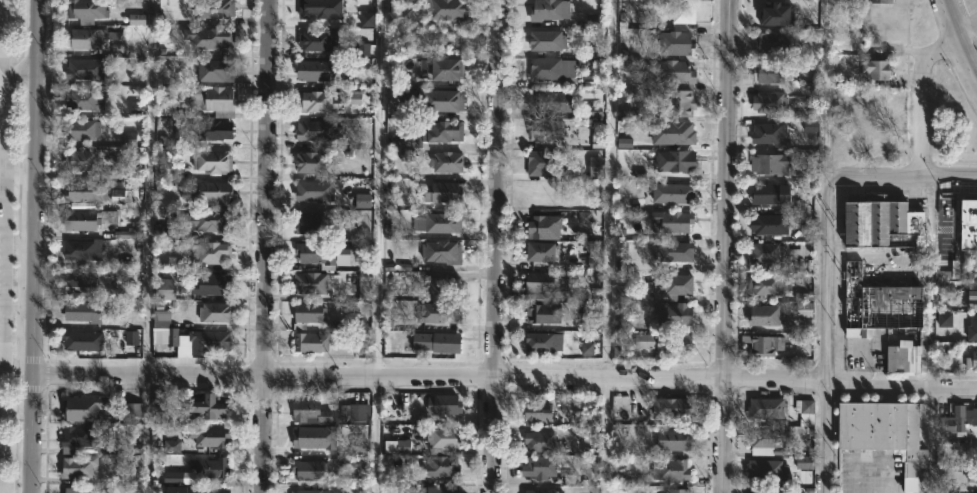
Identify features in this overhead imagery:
building: (883, 2)
building: (320, 9)
building: (215, 10)
building: (445, 10)
building: (550, 10)
building: (86, 11)
building: (774, 11)
building: (682, 12)
building: (400, 15)
building: (136, 19)
building: (367, 19)
building: (593, 20)
road: (964, 25)
road: (958, 38)
building: (88, 39)
building: (212, 39)
building: (316, 41)
building: (548, 41)
building: (674, 44)
building: (771, 44)
building: (363, 49)
building: (551, 68)
building: (86, 69)
building: (877, 69)
building: (445, 70)
building: (215, 71)
building: (318, 71)
building: (671, 72)
building: (771, 73)
road: (825, 88)
building: (353, 98)
road: (921, 98)
building: (85, 100)
building: (214, 101)
building: (440, 101)
building: (318, 102)
building: (552, 102)
building: (770, 103)
building: (680, 104)
building: (166, 108)
building: (593, 111)
building: (213, 130)
building: (79, 131)
building: (318, 131)
building: (547, 131)
building: (674, 134)
building: (431, 135)
building: (772, 135)
building: (128, 139)
building: (597, 141)
building: (624, 143)
road: (3, 154)
building: (82, 161)
building: (676, 161)
building: (447, 162)
building: (213, 163)
building: (312, 163)
building: (546, 164)
building: (773, 165)
building: (595, 167)
building: (160, 170)
building: (118, 174)
road: (904, 178)
building: (160, 186)
road: (144, 188)
building: (85, 191)
building: (314, 191)
building: (443, 191)
building: (213, 193)
building: (673, 193)
building: (770, 194)
building: (118, 196)
building: (363, 200)
building: (637, 204)
building: (583, 218)
building: (211, 219)
building: (673, 219)
building: (87, 220)
building: (882, 220)
building: (439, 221)
building: (310, 222)
building: (771, 222)
building: (970, 224)
building: (545, 226)
building: (162, 231)
road: (33, 246)
road: (266, 246)
road: (377, 246)
road: (495, 246)
road: (608, 246)
road: (726, 246)
building: (83, 248)
building: (443, 250)
building: (542, 250)
building: (676, 250)
building: (211, 251)
building: (768, 251)
building: (316, 252)
building: (594, 257)
building: (955, 266)
building: (81, 281)
building: (316, 282)
road: (930, 283)
building: (212, 284)
building: (542, 284)
building: (366, 285)
building: (767, 285)
building: (443, 286)
building: (670, 286)
building: (123, 287)
building: (165, 288)
building: (973, 292)
building: (621, 293)
building: (800, 296)
building: (882, 304)
building: (803, 309)
building: (87, 310)
building: (215, 311)
building: (446, 312)
building: (546, 312)
building: (675, 312)
building: (308, 313)
building: (767, 314)
building: (161, 319)
building: (944, 319)
building: (975, 328)
road: (828, 334)
building: (130, 337)
building: (82, 341)
building: (198, 341)
building: (544, 341)
building: (666, 341)
building: (310, 342)
building: (443, 342)
building: (767, 344)
building: (619, 345)
building: (586, 348)
building: (906, 356)
building: (971, 361)
road: (504, 378)
building: (158, 402)
building: (444, 403)
building: (83, 407)
building: (209, 407)
building: (673, 407)
building: (766, 408)
building: (132, 410)
building: (310, 411)
building: (807, 411)
building: (360, 412)
building: (539, 413)
building: (956, 420)
building: (882, 426)
road: (146, 434)
building: (80, 435)
building: (208, 435)
building: (315, 437)
building: (675, 439)
building: (768, 439)
building: (443, 440)
building: (540, 441)
building: (359, 445)
building: (171, 446)
building: (398, 446)
building: (804, 462)
building: (357, 465)
building: (78, 466)
building: (442, 466)
building: (540, 466)
building: (211, 467)
building: (309, 469)
building: (671, 469)
building: (768, 469)
building: (972, 475)
building: (179, 477)
building: (194, 489)
building: (439, 489)
building: (77, 490)
building: (544, 490)
building: (678, 490)
building: (761, 490)
building: (973, 490)
building: (312, 491)

